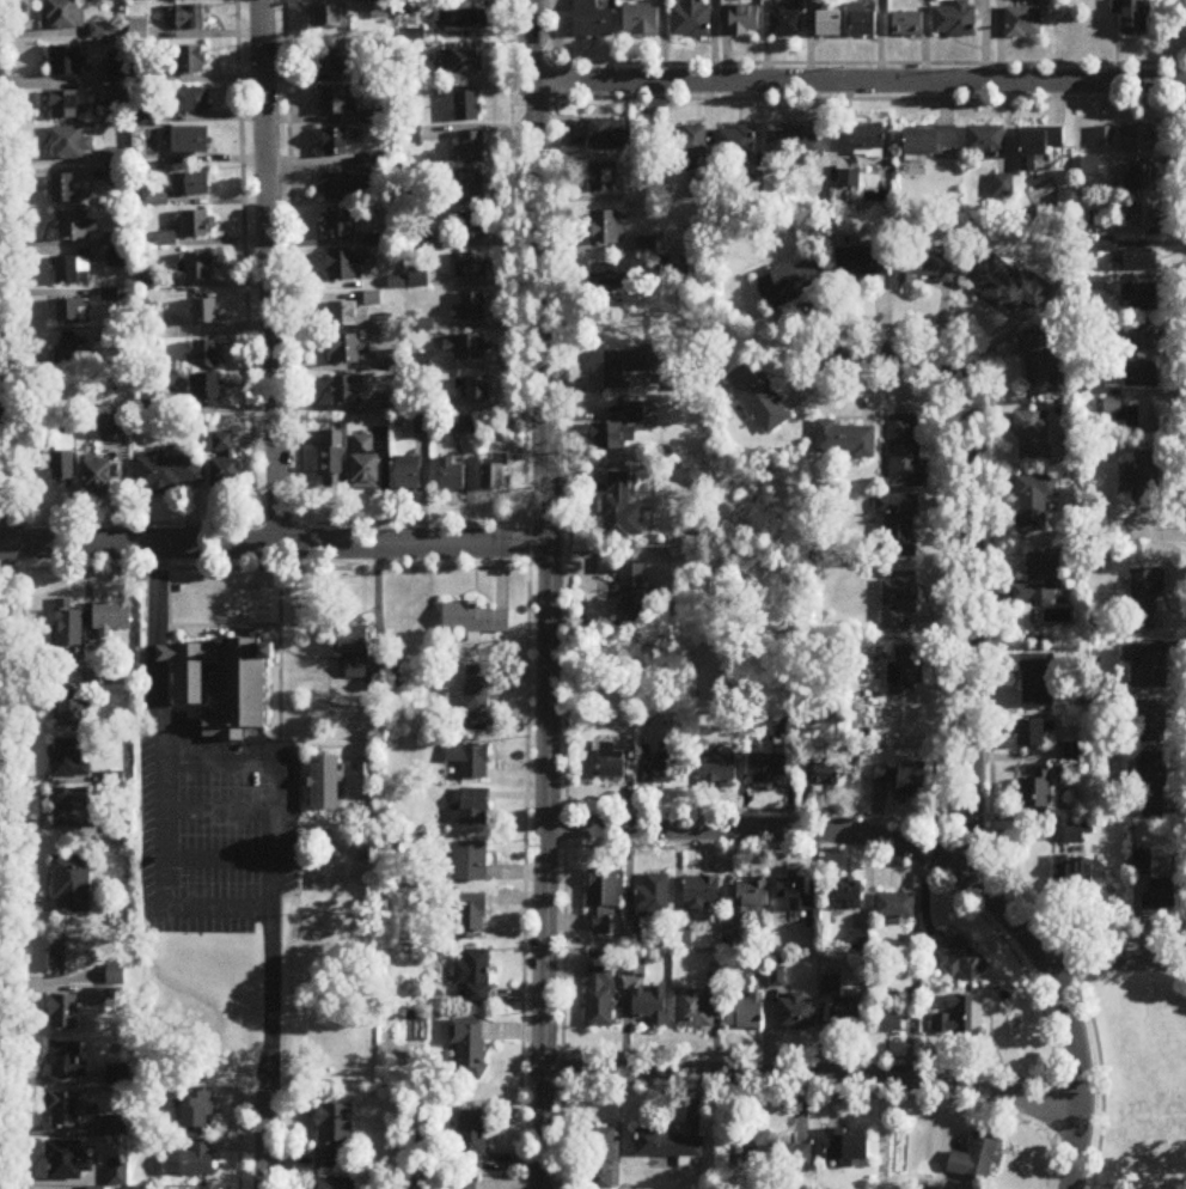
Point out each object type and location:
building: (380, 10)
building: (65, 16)
building: (1132, 16)
building: (190, 17)
building: (329, 17)
building: (466, 19)
building: (691, 19)
building: (593, 20)
building: (955, 20)
building: (641, 22)
building: (745, 22)
building: (864, 22)
building: (785, 23)
building: (831, 23)
building: (1023, 23)
building: (907, 25)
building: (188, 60)
building: (335, 60)
building: (463, 60)
building: (68, 61)
road: (860, 85)
building: (118, 92)
building: (190, 100)
building: (334, 100)
building: (68, 105)
building: (469, 106)
building: (607, 134)
building: (1126, 139)
building: (190, 140)
building: (873, 140)
building: (335, 141)
building: (933, 141)
building: (687, 142)
building: (986, 142)
building: (71, 144)
building: (736, 144)
building: (794, 145)
building: (472, 146)
building: (1039, 146)
building: (1090, 167)
building: (604, 178)
building: (1139, 179)
building: (194, 184)
building: (472, 184)
building: (1003, 185)
building: (346, 187)
building: (66, 189)
building: (1142, 215)
building: (340, 224)
building: (197, 225)
building: (475, 225)
building: (77, 226)
building: (607, 227)
building: (116, 252)
building: (1136, 261)
building: (862, 263)
building: (473, 264)
building: (200, 267)
building: (343, 267)
building: (674, 267)
building: (72, 269)
building: (924, 269)
road: (269, 274)
building: (612, 276)
building: (146, 278)
building: (418, 278)
building: (789, 282)
building: (1007, 285)
building: (1142, 297)
building: (472, 307)
building: (72, 310)
building: (208, 312)
building: (348, 316)
building: (1145, 336)
building: (466, 347)
building: (350, 349)
building: (75, 352)
building: (207, 355)
building: (1040, 364)
building: (628, 366)
building: (1141, 374)
building: (478, 390)
building: (212, 391)
building: (348, 391)
building: (759, 397)
road: (5, 421)
building: (1150, 421)
building: (110, 423)
building: (424, 426)
building: (466, 426)
building: (619, 431)
building: (1033, 437)
building: (846, 440)
building: (907, 455)
building: (65, 459)
building: (332, 461)
building: (225, 463)
building: (367, 464)
building: (495, 471)
building: (170, 472)
building: (453, 476)
building: (411, 477)
building: (99, 478)
building: (1144, 478)
building: (1034, 502)
building: (622, 507)
building: (897, 526)
road: (274, 548)
road: (970, 556)
building: (1040, 580)
building: (636, 590)
road: (549, 593)
building: (1145, 599)
building: (900, 603)
building: (111, 618)
building: (476, 621)
building: (68, 635)
building: (357, 641)
building: (1149, 666)
building: (906, 671)
building: (99, 676)
building: (1039, 681)
building: (222, 684)
building: (477, 699)
building: (72, 712)
building: (1148, 722)
building: (1034, 733)
building: (1075, 752)
building: (69, 758)
building: (471, 761)
building: (612, 761)
building: (720, 769)
building: (664, 770)
building: (820, 774)
building: (884, 775)
building: (913, 782)
road: (159, 783)
building: (326, 785)
building: (1151, 785)
building: (1037, 792)
building: (473, 809)
building: (73, 810)
road: (273, 860)
road: (931, 860)
building: (470, 862)
building: (1081, 876)
building: (71, 886)
building: (702, 892)
building: (794, 892)
building: (1164, 895)
building: (654, 898)
building: (753, 900)
building: (848, 901)
building: (603, 902)
building: (895, 908)
building: (473, 917)
building: (66, 957)
building: (960, 958)
road: (1114, 963)
building: (115, 976)
building: (475, 977)
building: (600, 999)
building: (649, 1007)
building: (693, 1010)
building: (65, 1013)
building: (745, 1014)
building: (797, 1014)
building: (961, 1018)
building: (851, 1019)
building: (892, 1022)
building: (469, 1048)
building: (67, 1061)
road: (813, 1079)
building: (63, 1110)
building: (198, 1111)
road: (269, 1132)
building: (334, 1133)
building: (472, 1142)
building: (668, 1145)
building: (848, 1148)
building: (772, 1153)
building: (601, 1159)
building: (977, 1160)
building: (67, 1161)
building: (192, 1161)
building: (117, 1171)
building: (464, 1183)
building: (335, 1184)
building: (94, 1188)

